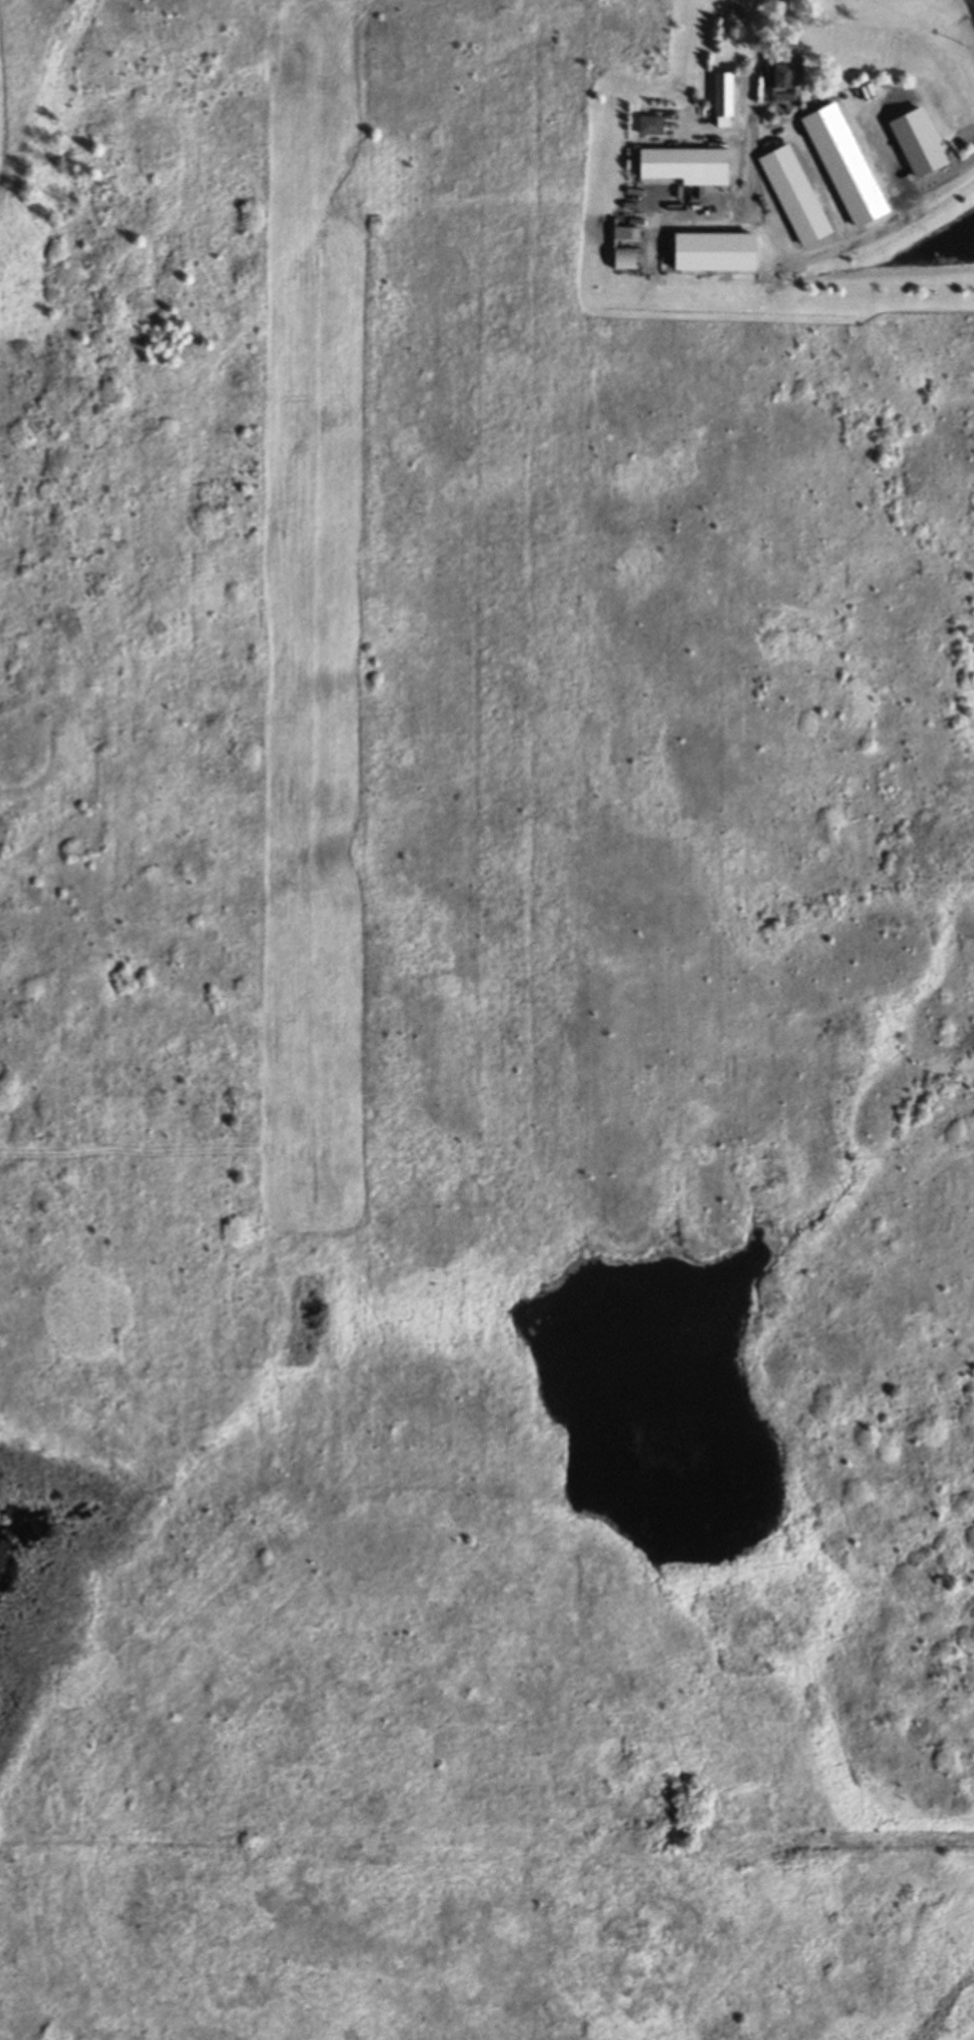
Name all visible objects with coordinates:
building: (787, 77)
building: (725, 100)
building: (652, 125)
building: (688, 166)
building: (802, 228)
road: (764, 235)
building: (813, 250)
building: (729, 264)

